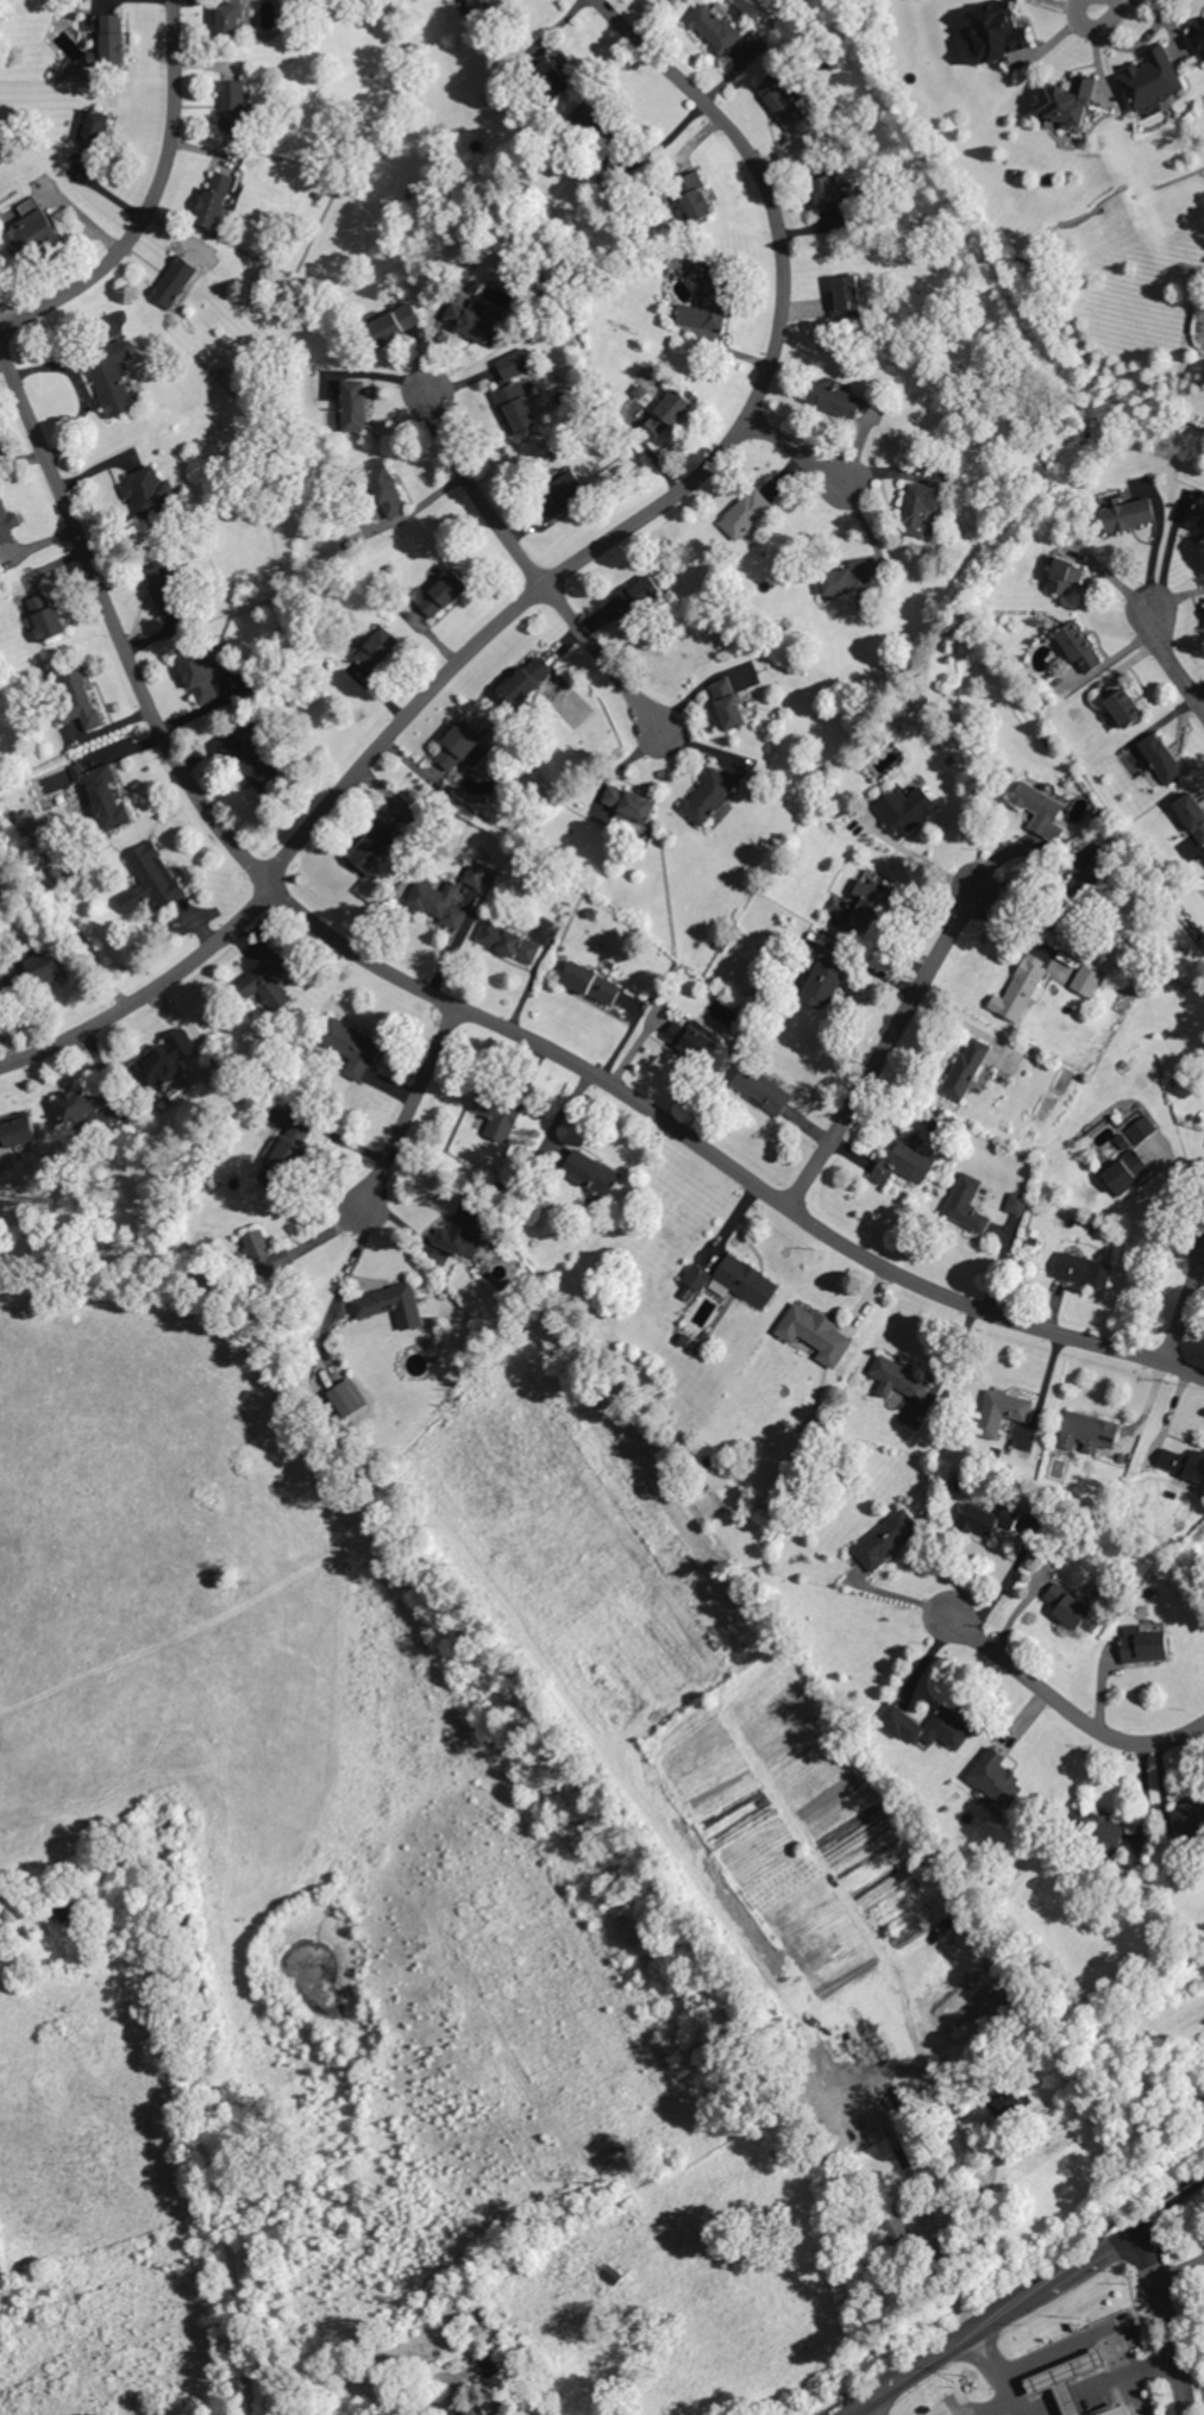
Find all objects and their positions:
building: (477, 4)
building: (233, 15)
building: (715, 27)
road: (1097, 29)
building: (996, 32)
building: (1198, 36)
building: (112, 39)
building: (552, 77)
building: (1152, 79)
building: (783, 101)
building: (1066, 101)
building: (234, 105)
building: (591, 117)
building: (94, 134)
building: (827, 192)
road: (151, 196)
building: (215, 199)
building: (31, 227)
building: (175, 281)
building: (846, 296)
building: (708, 306)
building: (471, 319)
building: (394, 321)
building: (114, 377)
building: (515, 391)
building: (845, 401)
building: (353, 404)
building: (663, 413)
road: (799, 448)
road: (689, 483)
building: (149, 490)
building: (388, 491)
building: (563, 491)
building: (922, 509)
building: (1199, 512)
building: (746, 513)
building: (1128, 514)
building: (7, 522)
road: (533, 565)
building: (1067, 575)
building: (846, 577)
building: (163, 586)
building: (444, 594)
building: (639, 595)
building: (46, 616)
building: (1080, 646)
building: (378, 647)
road: (1173, 660)
building: (207, 678)
building: (525, 679)
building: (81, 697)
building: (728, 703)
building: (1125, 708)
building: (247, 724)
building: (463, 745)
building: (1161, 758)
building: (258, 767)
building: (104, 795)
building: (709, 797)
building: (628, 801)
building: (905, 808)
building: (1040, 809)
building: (1190, 823)
building: (374, 846)
building: (476, 873)
building: (150, 878)
building: (1087, 883)
building: (438, 901)
building: (870, 902)
road: (75, 921)
building: (509, 941)
building: (39, 976)
building: (1086, 979)
building: (266, 981)
building: (823, 981)
building: (591, 983)
building: (1018, 989)
road: (149, 990)
road: (460, 1003)
building: (692, 1039)
building: (350, 1046)
road: (884, 1054)
building: (165, 1059)
building: (966, 1067)
building: (761, 1089)
road: (409, 1100)
building: (80, 1105)
building: (498, 1112)
building: (1141, 1128)
building: (18, 1131)
building: (291, 1148)
building: (904, 1163)
building: (591, 1171)
building: (1125, 1171)
building: (966, 1203)
building: (1016, 1203)
building: (463, 1230)
building: (265, 1256)
road: (352, 1261)
building: (1081, 1269)
building: (697, 1276)
building: (746, 1280)
building: (391, 1304)
road: (1186, 1306)
building: (816, 1334)
building: (898, 1379)
building: (1002, 1411)
building: (1089, 1431)
building: (1183, 1462)
building: (886, 1538)
road: (1021, 1554)
building: (1068, 1605)
building: (1143, 1644)
road: (1071, 1702)
building: (928, 1726)
building: (996, 1777)
building: (1187, 1812)
building: (1105, 1832)
building: (81, 1914)
building: (907, 1933)
road: (215, 2047)
building: (1058, 2058)
building: (1008, 2100)
building: (896, 2227)
road: (1177, 2266)
building: (612, 2273)
building: (924, 2279)
road: (1016, 2294)
road: (1165, 2316)
building: (490, 2364)
road: (1003, 2373)
road: (1131, 2376)
road: (460, 2379)
building: (1071, 2384)
road: (863, 2407)
road: (1024, 2408)
road: (389, 2410)
building: (483, 2413)
building: (503, 2413)
building: (509, 2414)

